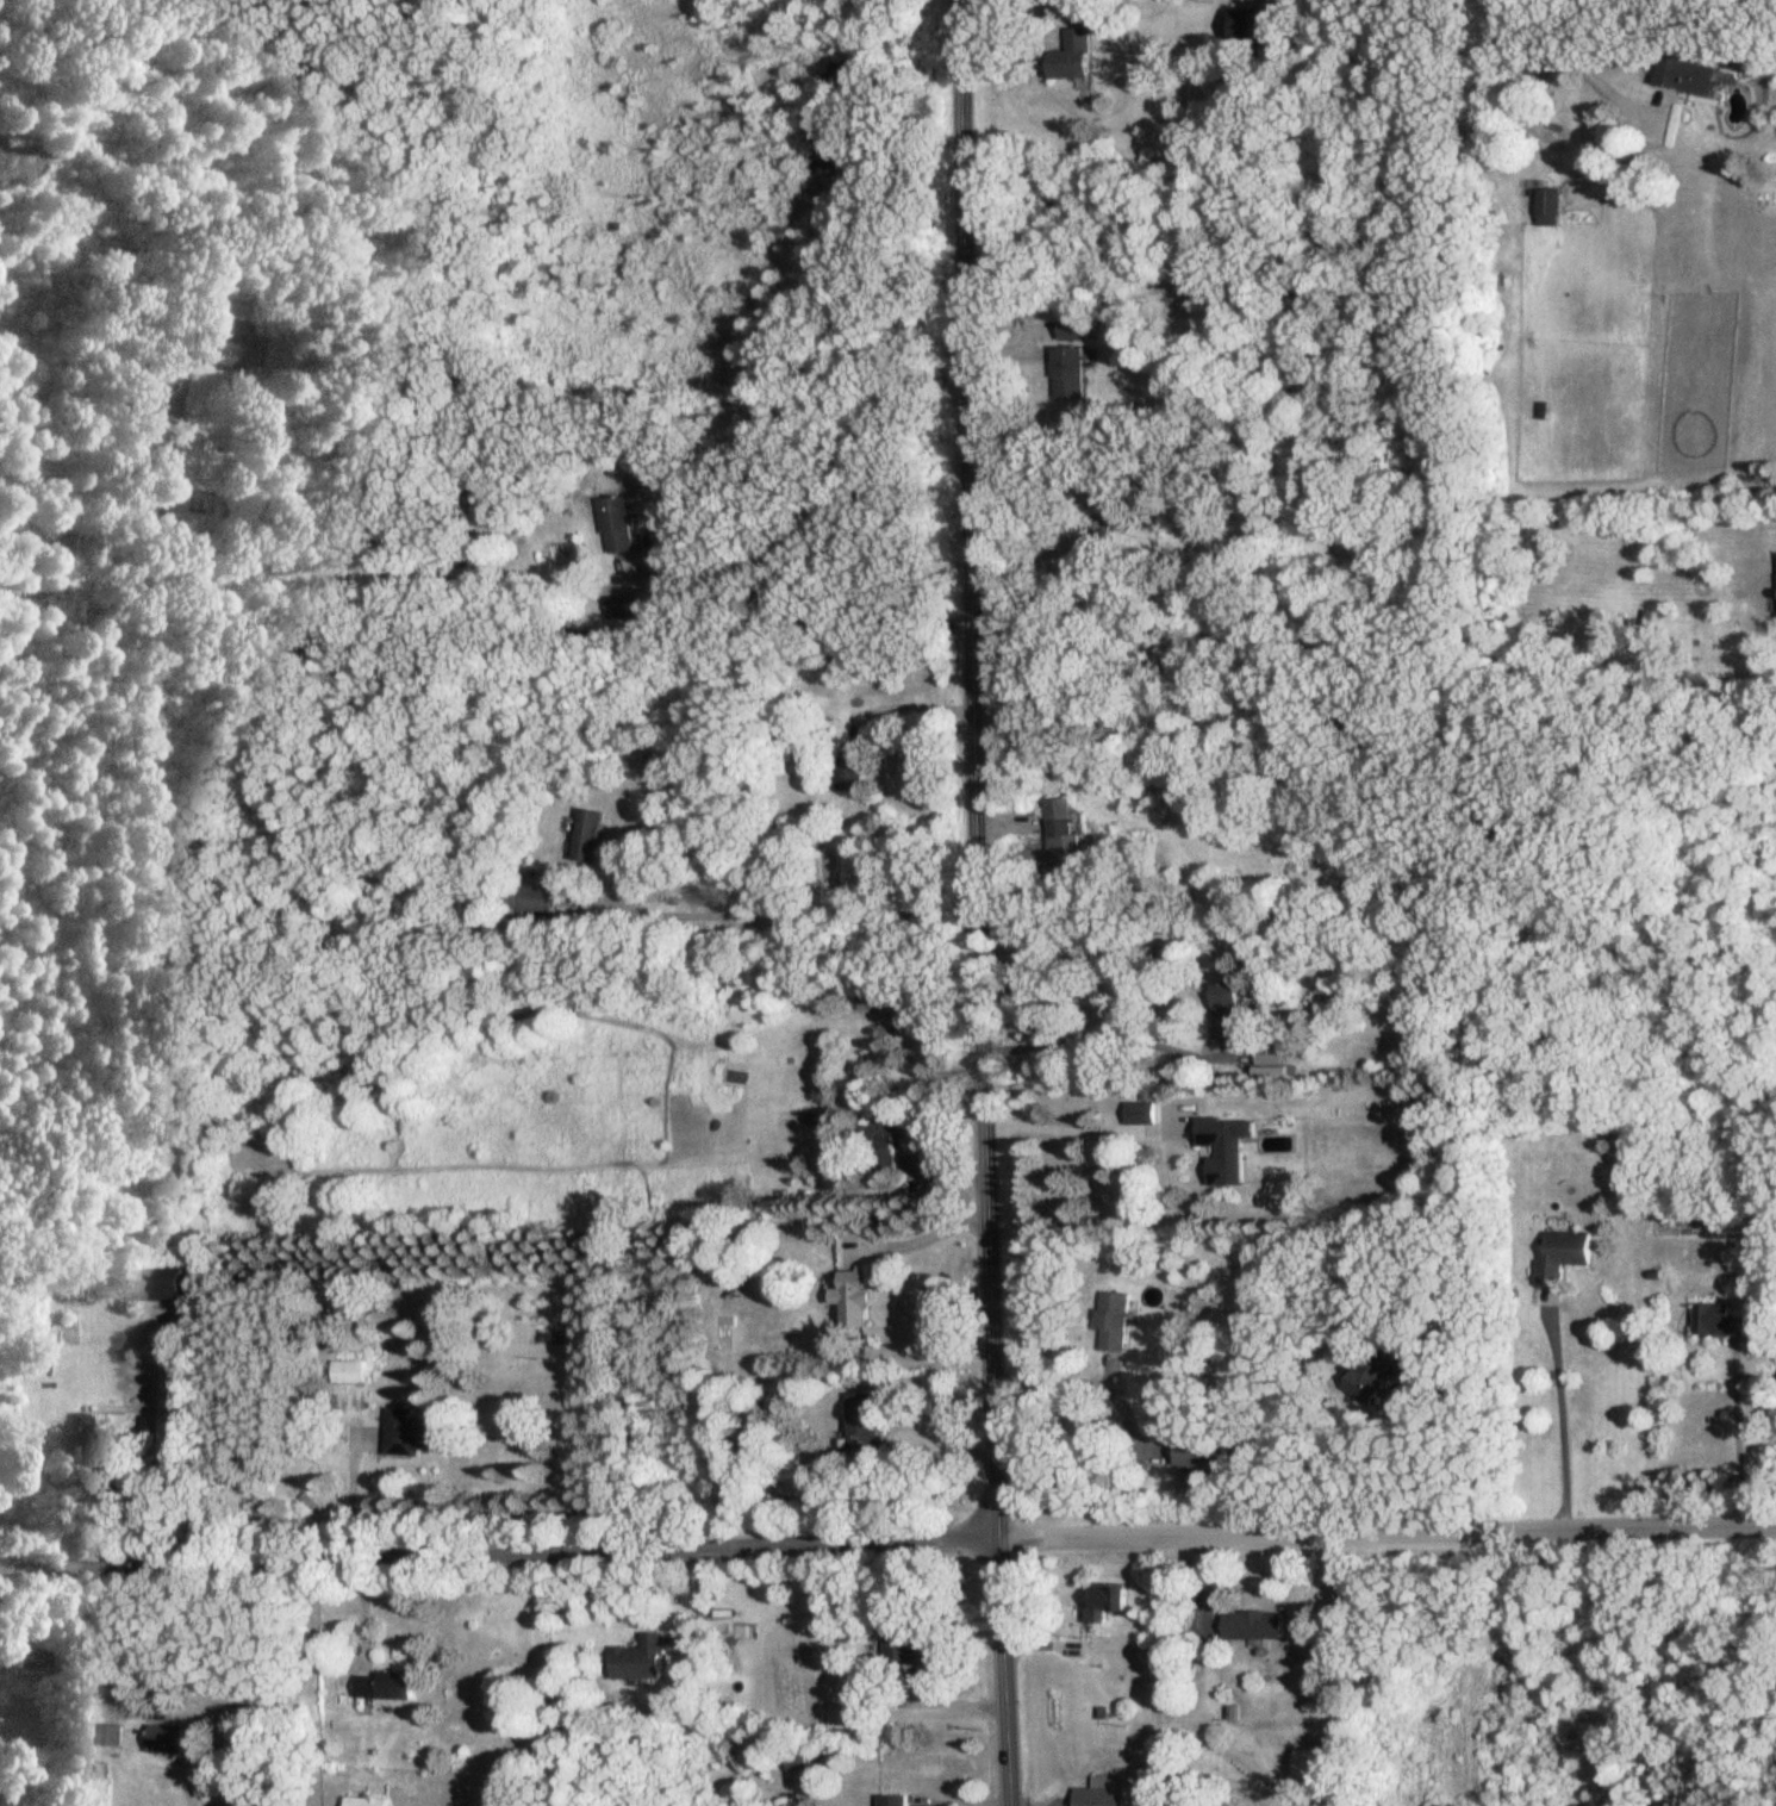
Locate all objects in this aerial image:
building: (1251, 25)
building: (1070, 56)
building: (1525, 61)
road: (1574, 62)
building: (1682, 74)
building: (1547, 207)
building: (1070, 329)
building: (216, 350)
building: (1065, 372)
building: (1098, 509)
road: (820, 518)
building: (611, 524)
road: (463, 643)
building: (823, 658)
road: (903, 704)
building: (848, 772)
building: (585, 836)
building: (1059, 839)
building: (535, 898)
road: (970, 903)
road: (818, 910)
building: (877, 997)
building: (1222, 1013)
building: (1139, 1111)
road: (1066, 1120)
building: (1222, 1147)
building: (878, 1148)
building: (1560, 1253)
building: (848, 1296)
building: (1715, 1320)
building: (1111, 1321)
building: (1370, 1376)
road: (1560, 1406)
building: (861, 1424)
road: (1739, 1430)
road: (1472, 1433)
building: (413, 1434)
building: (91, 1446)
building: (1194, 1452)
road: (1128, 1462)
road: (887, 1533)
building: (1101, 1602)
building: (1252, 1625)
road: (107, 1639)
building: (904, 1645)
building: (29, 1658)
building: (638, 1658)
building: (387, 1686)
building: (113, 1736)
building: (173, 1739)
building: (796, 1758)
building: (1309, 1763)
building: (1099, 1796)
building: (892, 1800)
building: (368, 1801)

